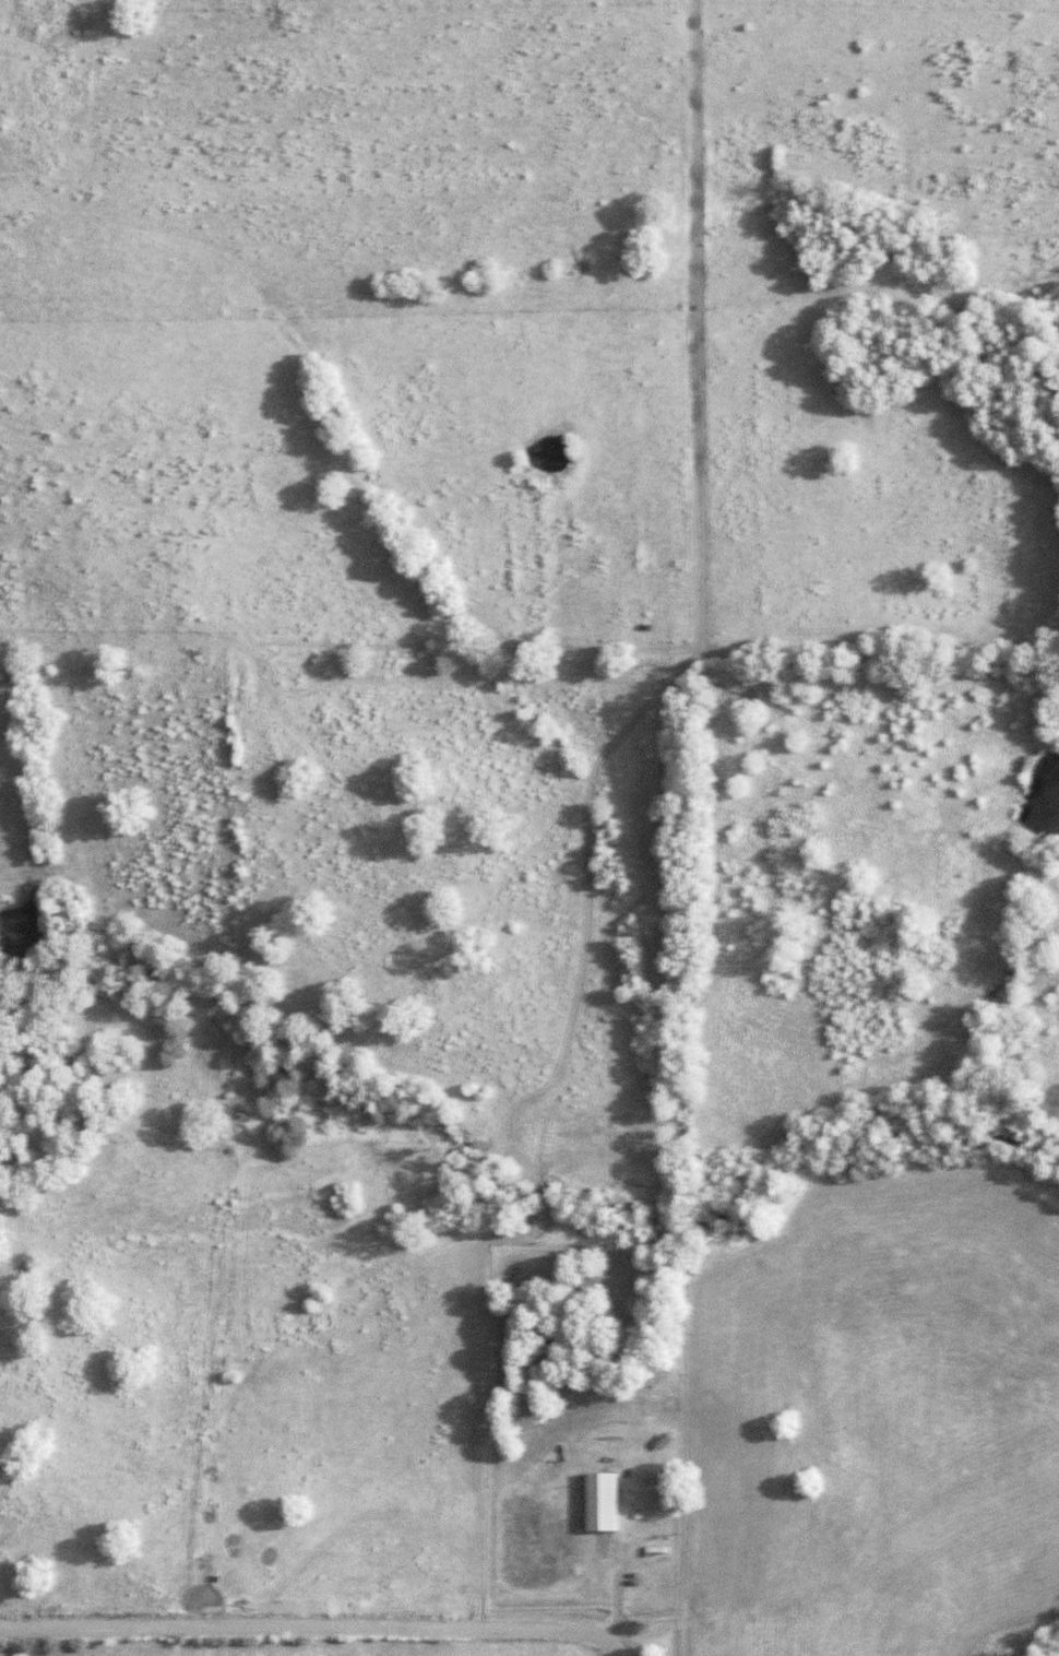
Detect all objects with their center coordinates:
building: (605, 1505)
road: (314, 1624)

